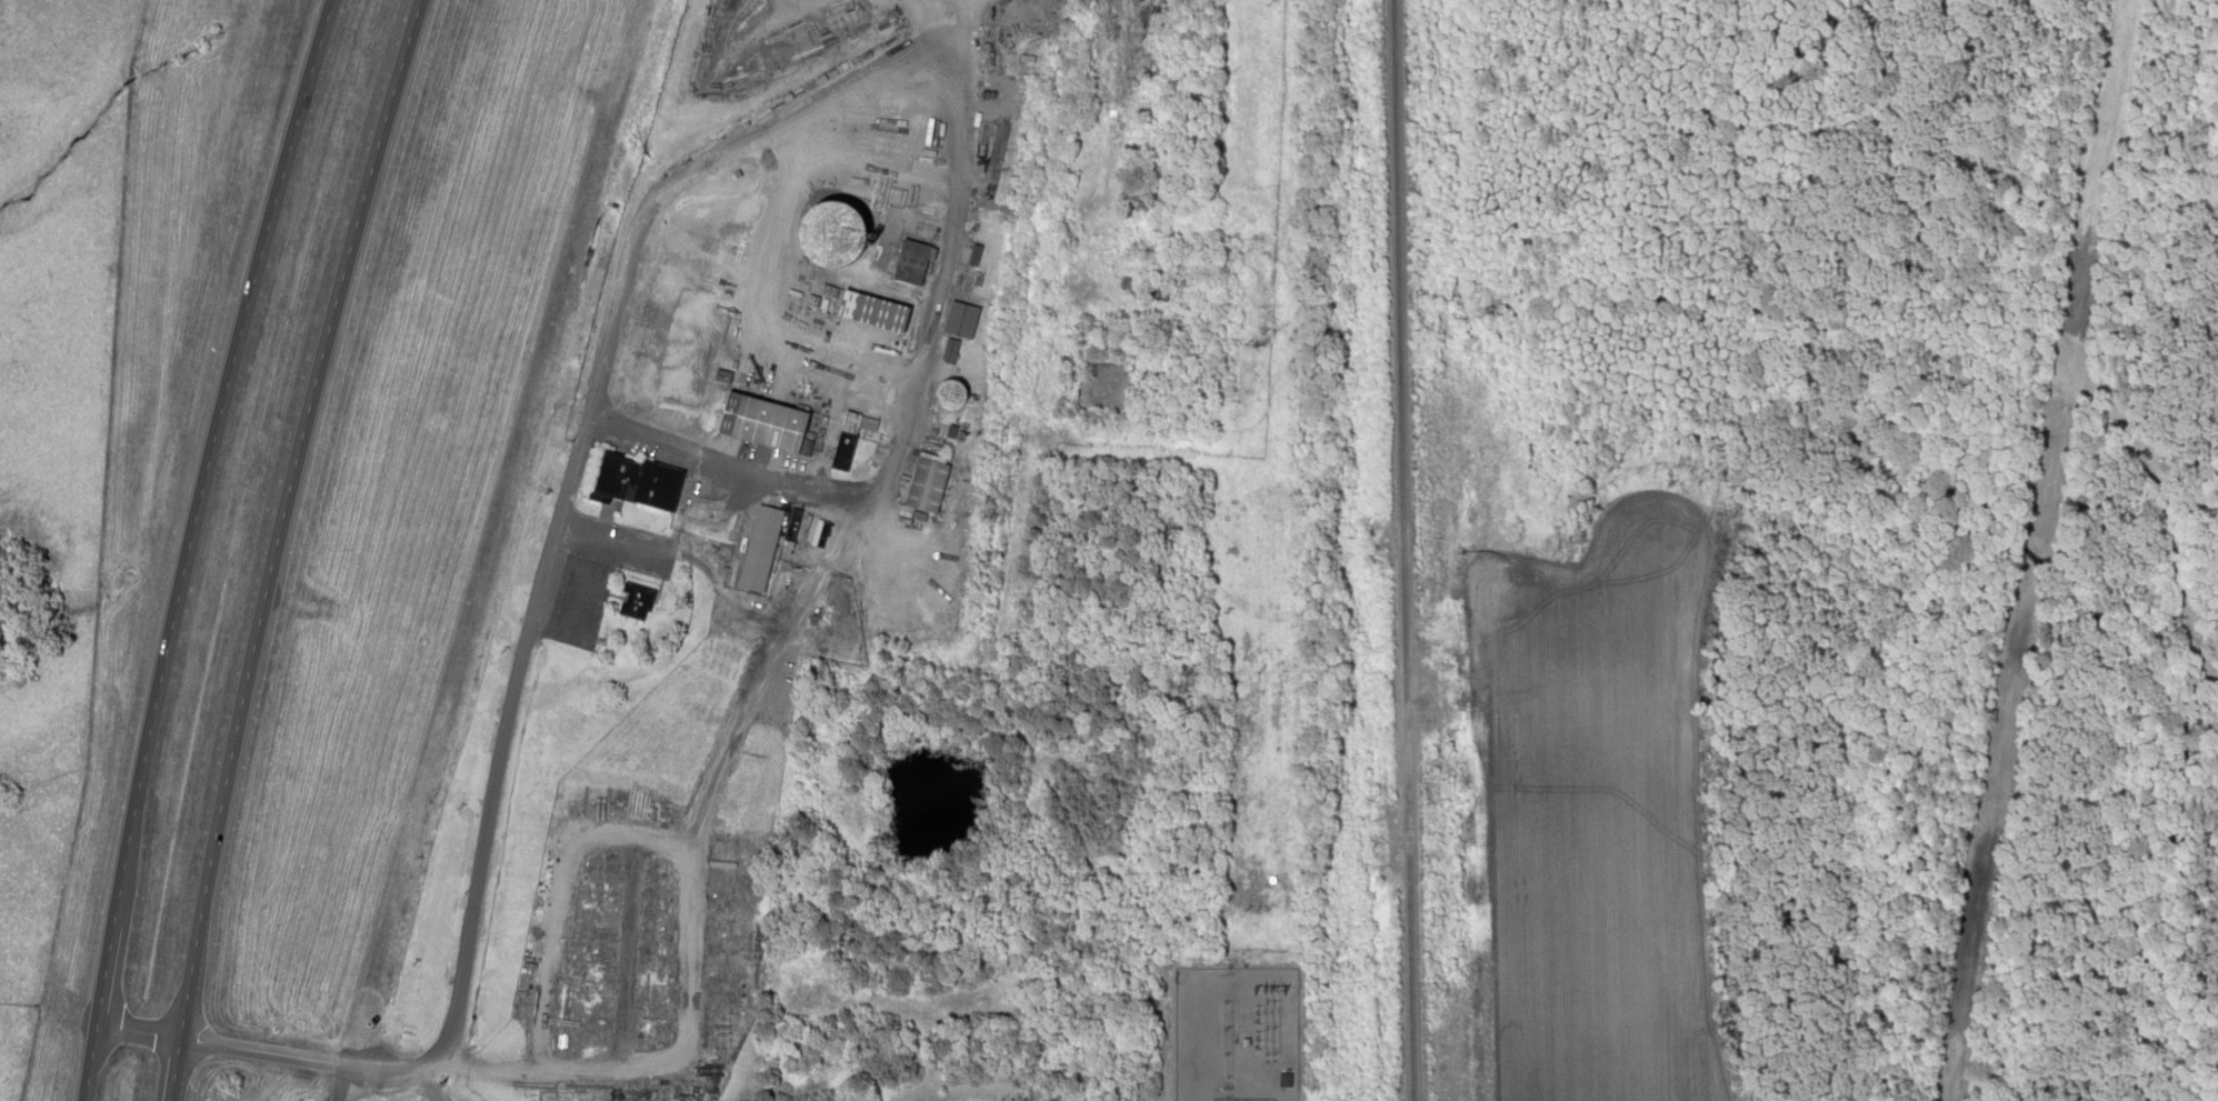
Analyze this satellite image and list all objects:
road: (719, 152)
building: (830, 234)
building: (910, 262)
building: (872, 311)
railway: (1027, 319)
building: (960, 320)
building: (948, 352)
building: (949, 396)
building: (763, 421)
building: (840, 454)
building: (612, 473)
building: (925, 483)
building: (657, 484)
road: (184, 544)
road: (276, 546)
building: (759, 546)
railway: (1400, 550)
building: (633, 600)
road: (661, 1065)
road: (338, 1081)
road: (422, 1083)

